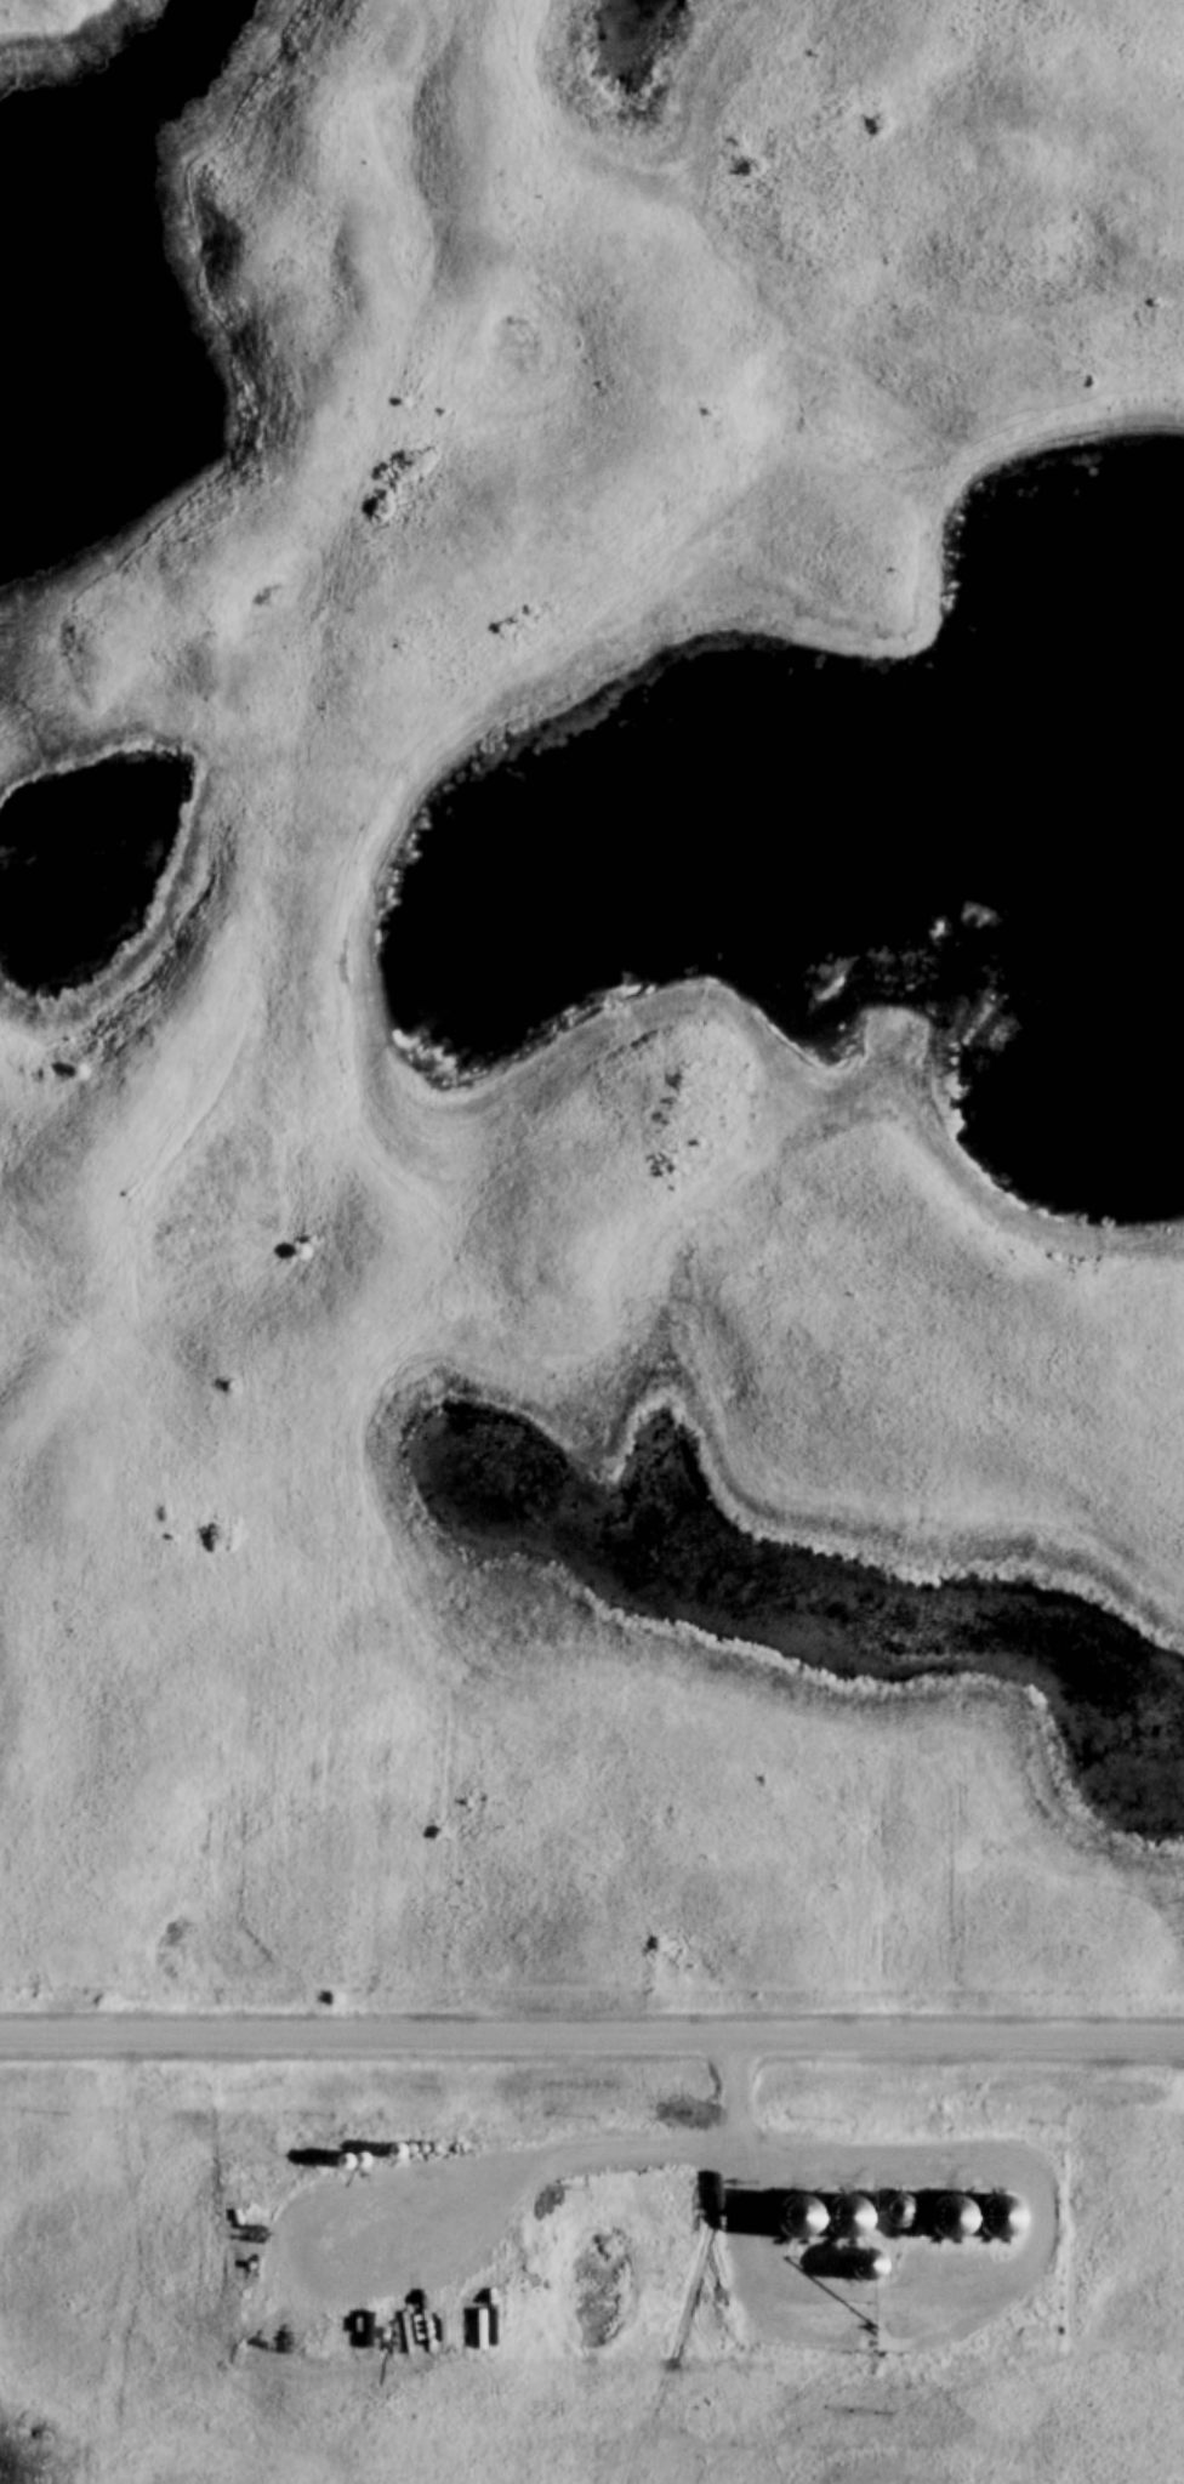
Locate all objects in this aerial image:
road: (591, 2039)

